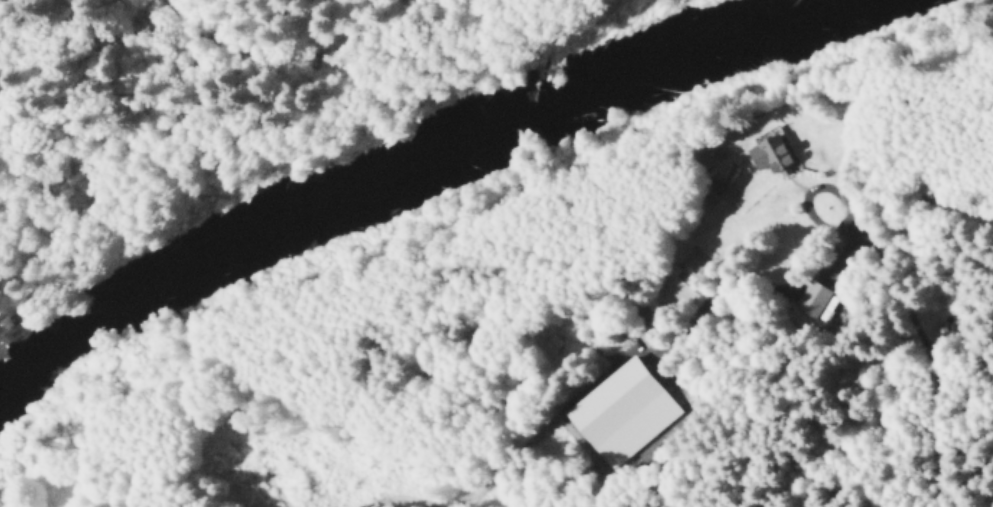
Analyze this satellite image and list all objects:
road: (45, 47)
building: (772, 152)
river: (405, 176)
building: (815, 297)
building: (555, 343)
building: (625, 410)
road: (906, 457)

